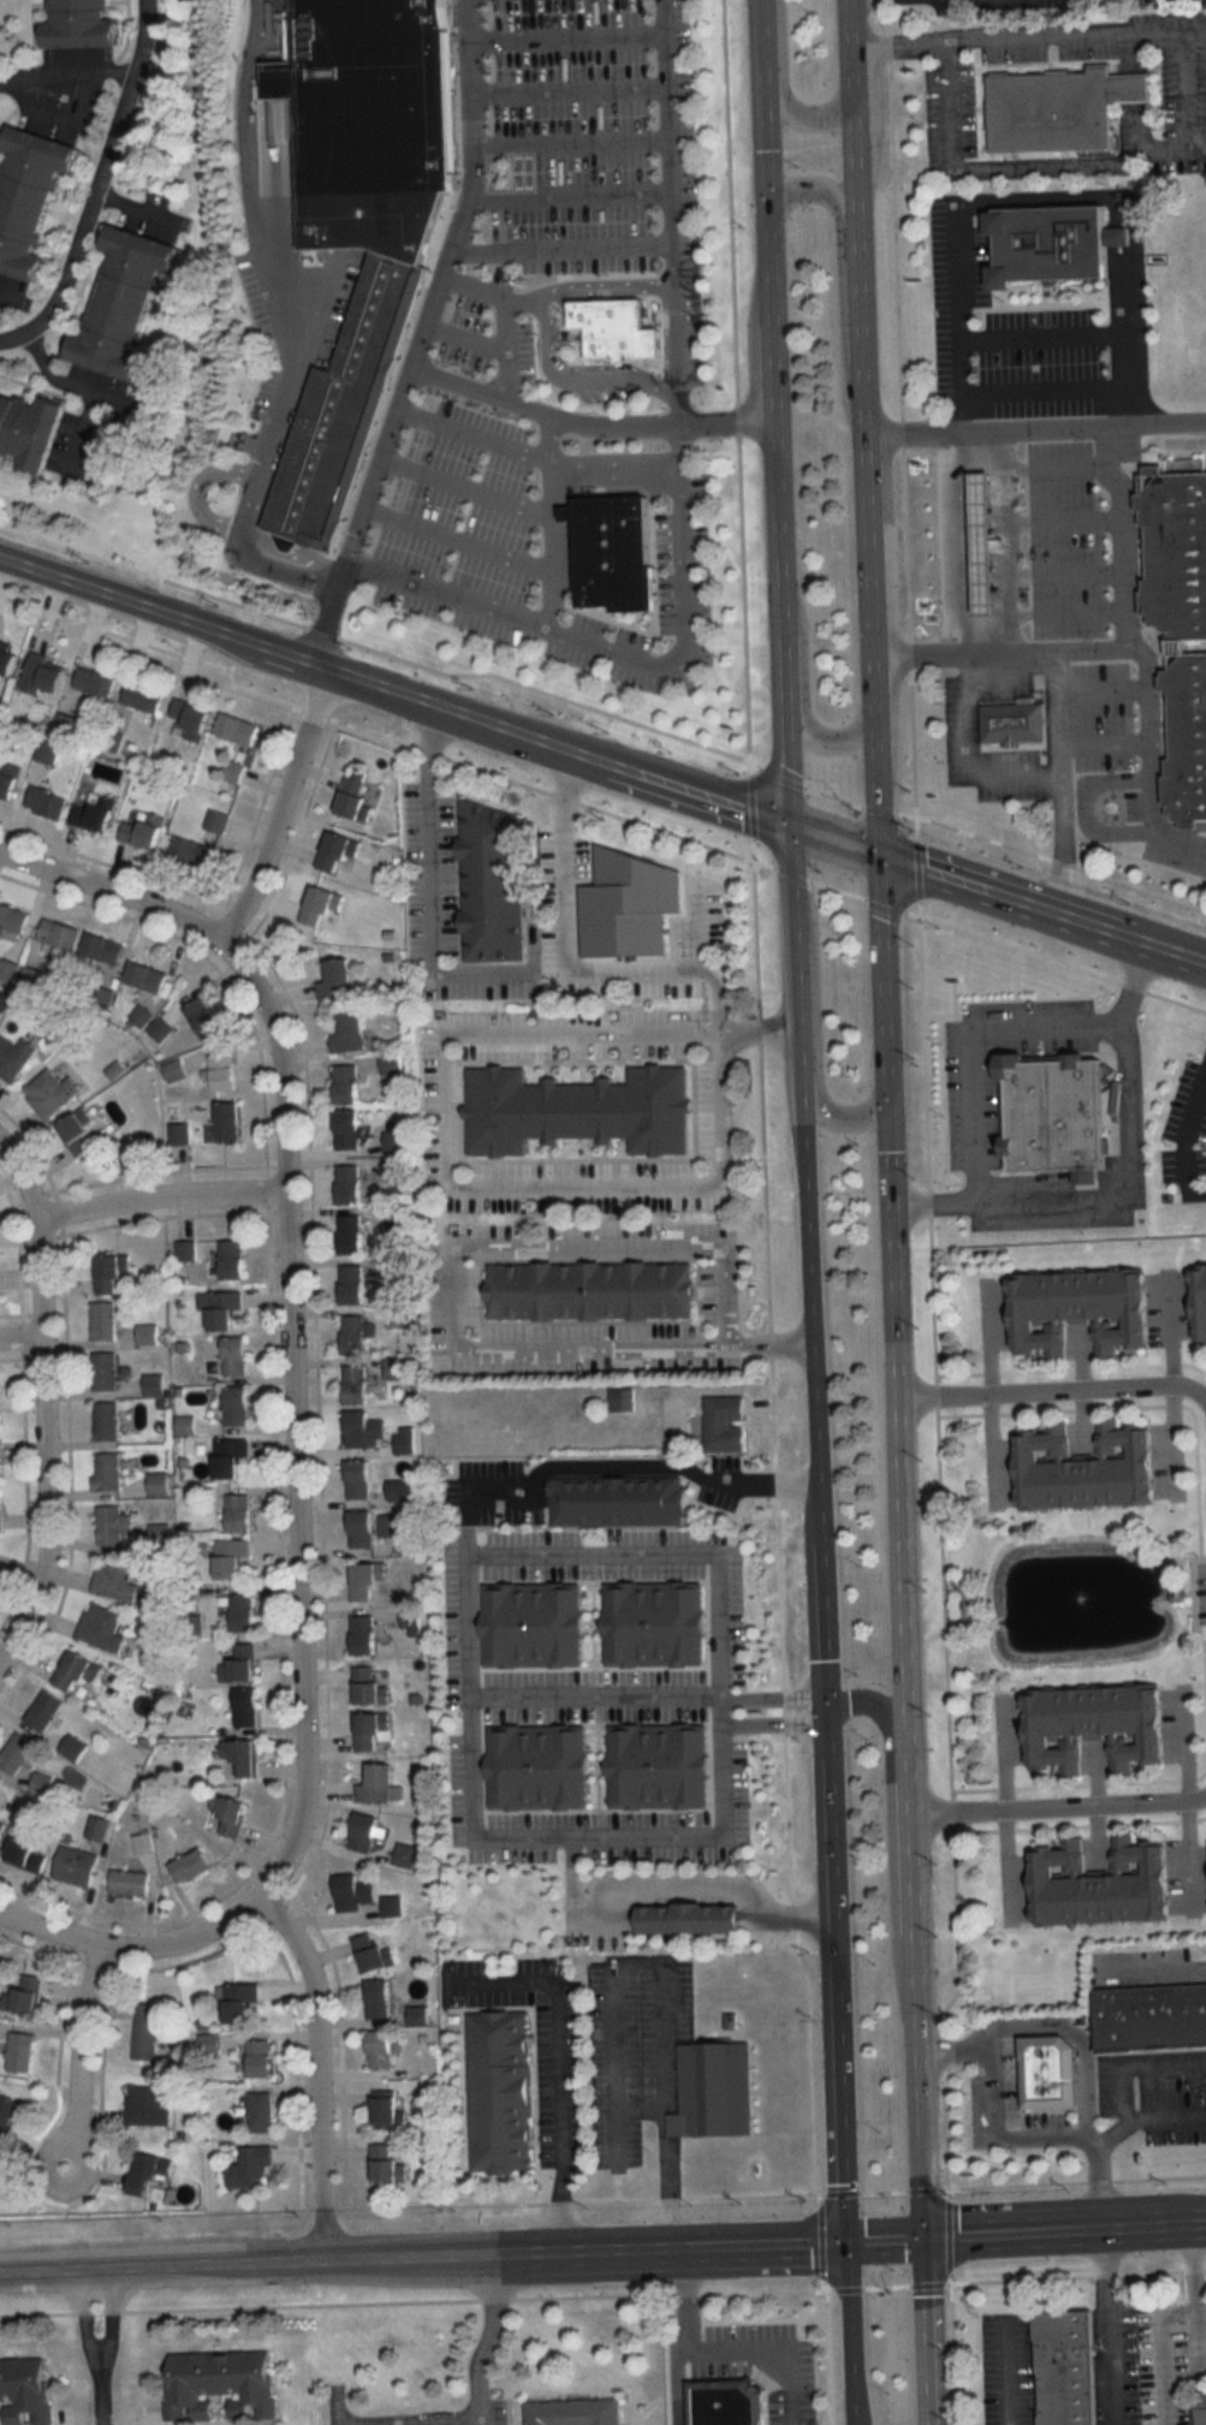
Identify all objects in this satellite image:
road: (848, 23)
building: (82, 24)
road: (1166, 29)
road: (1038, 32)
road: (572, 35)
road: (760, 38)
road: (899, 42)
road: (63, 71)
road: (574, 85)
road: (1187, 85)
road: (951, 101)
building: (1051, 106)
road: (800, 113)
building: (368, 119)
road: (851, 121)
road: (576, 139)
road: (1172, 143)
traffic signals: (765, 148)
road: (1050, 162)
road: (765, 168)
road: (99, 170)
road: (814, 185)
traffic signals: (789, 186)
road: (575, 194)
building: (30, 195)
road: (729, 201)
road: (855, 204)
road: (673, 209)
road: (1123, 222)
building: (1042, 238)
road: (566, 246)
road: (8, 296)
building: (125, 301)
road: (513, 311)
road: (958, 311)
road: (859, 321)
building: (611, 325)
road: (551, 329)
road: (1042, 329)
road: (286, 331)
road: (474, 333)
road: (14, 337)
road: (771, 337)
road: (427, 339)
road: (87, 388)
road: (1044, 390)
building: (344, 405)
road: (736, 417)
road: (899, 418)
road: (590, 420)
road: (1034, 423)
building: (30, 428)
road: (477, 430)
road: (617, 452)
road: (1058, 464)
road: (469, 482)
road: (776, 487)
road: (1065, 519)
road: (1119, 531)
road: (461, 534)
road: (1012, 536)
road: (950, 539)
building: (979, 542)
building: (1172, 548)
building: (612, 551)
road: (779, 566)
road: (1067, 570)
road: (451, 588)
road: (743, 594)
road: (1068, 608)
road: (868, 617)
road: (782, 637)
road: (380, 652)
road: (625, 654)
building: (8, 656)
building: (44, 673)
building: (96, 680)
road: (1145, 683)
road: (1104, 687)
building: (143, 696)
road: (392, 696)
building: (192, 718)
building: (1009, 718)
building: (239, 729)
road: (373, 732)
road: (821, 736)
building: (1183, 736)
road: (1105, 741)
road: (967, 757)
road: (785, 760)
traffic signals: (786, 766)
road: (754, 768)
road: (780, 775)
road: (1063, 777)
building: (8, 785)
building: (356, 795)
road: (832, 795)
building: (47, 802)
road: (754, 803)
traffic signals: (744, 806)
road: (877, 806)
road: (903, 809)
road: (280, 810)
building: (96, 813)
building: (218, 821)
road: (878, 825)
building: (144, 831)
road: (833, 836)
road: (1177, 836)
road: (753, 848)
building: (338, 851)
building: (194, 852)
road: (1062, 860)
road: (765, 862)
road: (790, 862)
road: (920, 867)
traffic signals: (928, 867)
road: (791, 873)
building: (488, 880)
road: (837, 890)
road: (427, 891)
road: (1015, 894)
road: (109, 898)
building: (624, 901)
road: (883, 904)
building: (322, 908)
road: (909, 913)
traffic signals: (881, 916)
building: (14, 920)
building: (60, 934)
building: (103, 949)
road: (1178, 950)
road: (559, 962)
road: (1062, 963)
road: (881, 976)
building: (147, 977)
building: (337, 980)
building: (203, 1017)
building: (351, 1033)
road: (813, 1033)
road: (969, 1040)
building: (14, 1057)
building: (224, 1071)
building: (346, 1083)
building: (52, 1093)
building: (574, 1105)
traffic signals: (881, 1105)
building: (1051, 1111)
building: (228, 1122)
road: (1188, 1128)
building: (349, 1129)
building: (179, 1133)
building: (79, 1134)
road: (445, 1152)
building: (350, 1184)
road: (1127, 1187)
road: (159, 1196)
road: (803, 1202)
building: (351, 1235)
building: (185, 1250)
building: (232, 1260)
building: (111, 1272)
building: (352, 1285)
building: (587, 1286)
road: (455, 1290)
building: (1198, 1301)
building: (1075, 1309)
building: (224, 1310)
building: (398, 1316)
building: (103, 1321)
building: (148, 1335)
building: (354, 1335)
road: (1169, 1336)
road: (19, 1341)
building: (234, 1356)
building: (105, 1371)
building: (154, 1384)
building: (355, 1384)
road: (1048, 1391)
road: (1201, 1392)
building: (620, 1398)
road: (42, 1405)
building: (237, 1407)
road: (291, 1417)
building: (720, 1417)
building: (106, 1421)
building: (364, 1430)
road: (1172, 1442)
building: (405, 1444)
building: (230, 1457)
road: (647, 1463)
building: (1079, 1468)
building: (108, 1472)
building: (360, 1481)
building: (159, 1484)
building: (402, 1490)
building: (614, 1497)
building: (0, 1511)
building: (239, 1514)
building: (113, 1524)
building: (388, 1526)
building: (361, 1529)
road: (592, 1551)
building: (232, 1558)
building: (115, 1580)
building: (367, 1582)
road: (895, 1588)
road: (819, 1609)
building: (243, 1612)
building: (649, 1618)
building: (530, 1622)
building: (101, 1628)
building: (364, 1635)
road: (945, 1662)
building: (240, 1664)
building: (76, 1671)
building: (370, 1687)
road: (773, 1693)
road: (595, 1695)
building: (245, 1706)
building: (44, 1711)
road: (774, 1718)
building: (1087, 1726)
building: (374, 1729)
building: (73, 1748)
building: (17, 1754)
building: (242, 1757)
building: (654, 1759)
building: (536, 1763)
building: (42, 1782)
building: (378, 1785)
road: (1054, 1807)
building: (232, 1818)
building: (1, 1830)
building: (363, 1832)
road: (889, 1835)
road: (596, 1839)
building: (405, 1855)
building: (28, 1856)
road: (1010, 1864)
building: (76, 1867)
building: (191, 1867)
building: (129, 1883)
building: (1093, 1884)
road: (671, 1891)
building: (354, 1894)
building: (683, 1915)
road: (127, 1946)
building: (375, 1951)
road: (833, 1979)
road: (660, 1991)
building: (25, 1995)
building: (379, 1999)
building: (242, 2003)
building: (1147, 2014)
building: (416, 2015)
building: (145, 2031)
road: (1081, 2043)
building: (381, 2050)
building: (20, 2051)
road: (78, 2056)
building: (262, 2058)
road: (558, 2068)
road: (314, 2069)
building: (1046, 2069)
road: (1123, 2070)
building: (713, 2087)
building: (500, 2091)
building: (147, 2106)
building: (388, 2111)
building: (261, 2112)
building: (8, 2115)
road: (994, 2133)
road: (913, 2156)
building: (391, 2163)
building: (251, 2167)
building: (149, 2174)
building: (1, 2192)
road: (1061, 2233)
traffic signals: (915, 2241)
road: (878, 2242)
traffic signals: (842, 2243)
road: (420, 2258)
road: (687, 2299)
road: (844, 2322)
road: (1181, 2325)
road: (1106, 2328)
road: (919, 2331)
road: (487, 2341)
road: (97, 2346)
road: (737, 2348)
building: (1064, 2366)
building: (220, 2383)
road: (99, 2385)
building: (25, 2390)
building: (725, 2401)
building: (1202, 2406)
road: (334, 2409)
building: (574, 2412)
road: (849, 2412)
road: (854, 2412)
road: (406, 2417)
road: (922, 2424)

